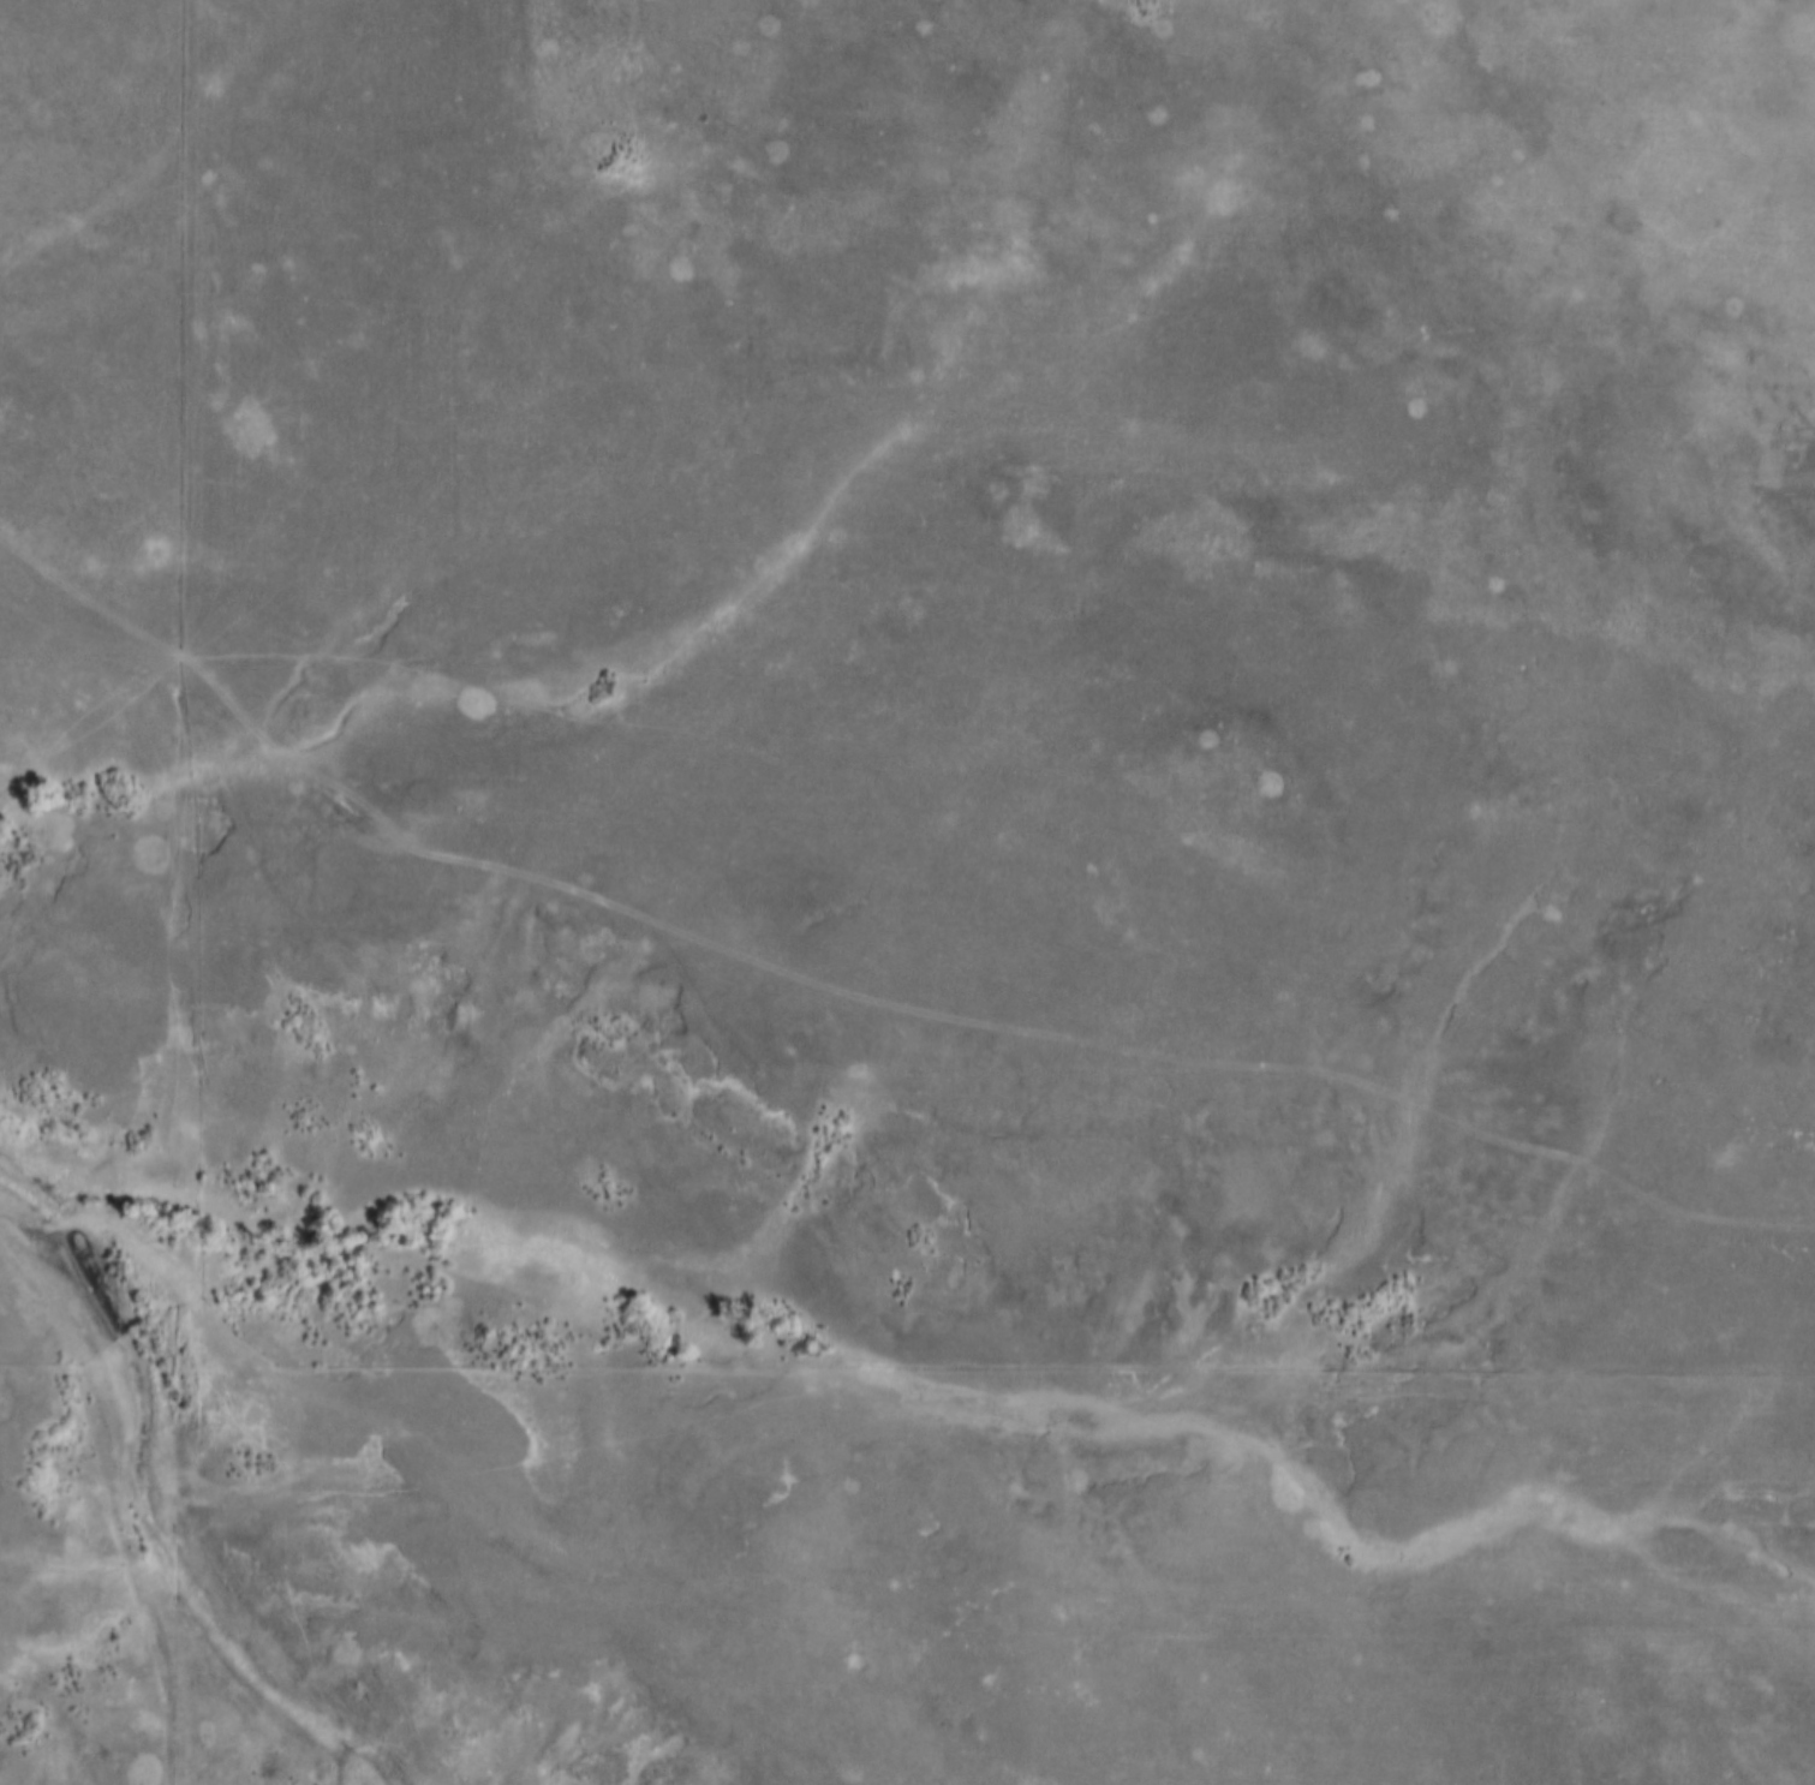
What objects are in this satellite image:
road: (113, 1504)

